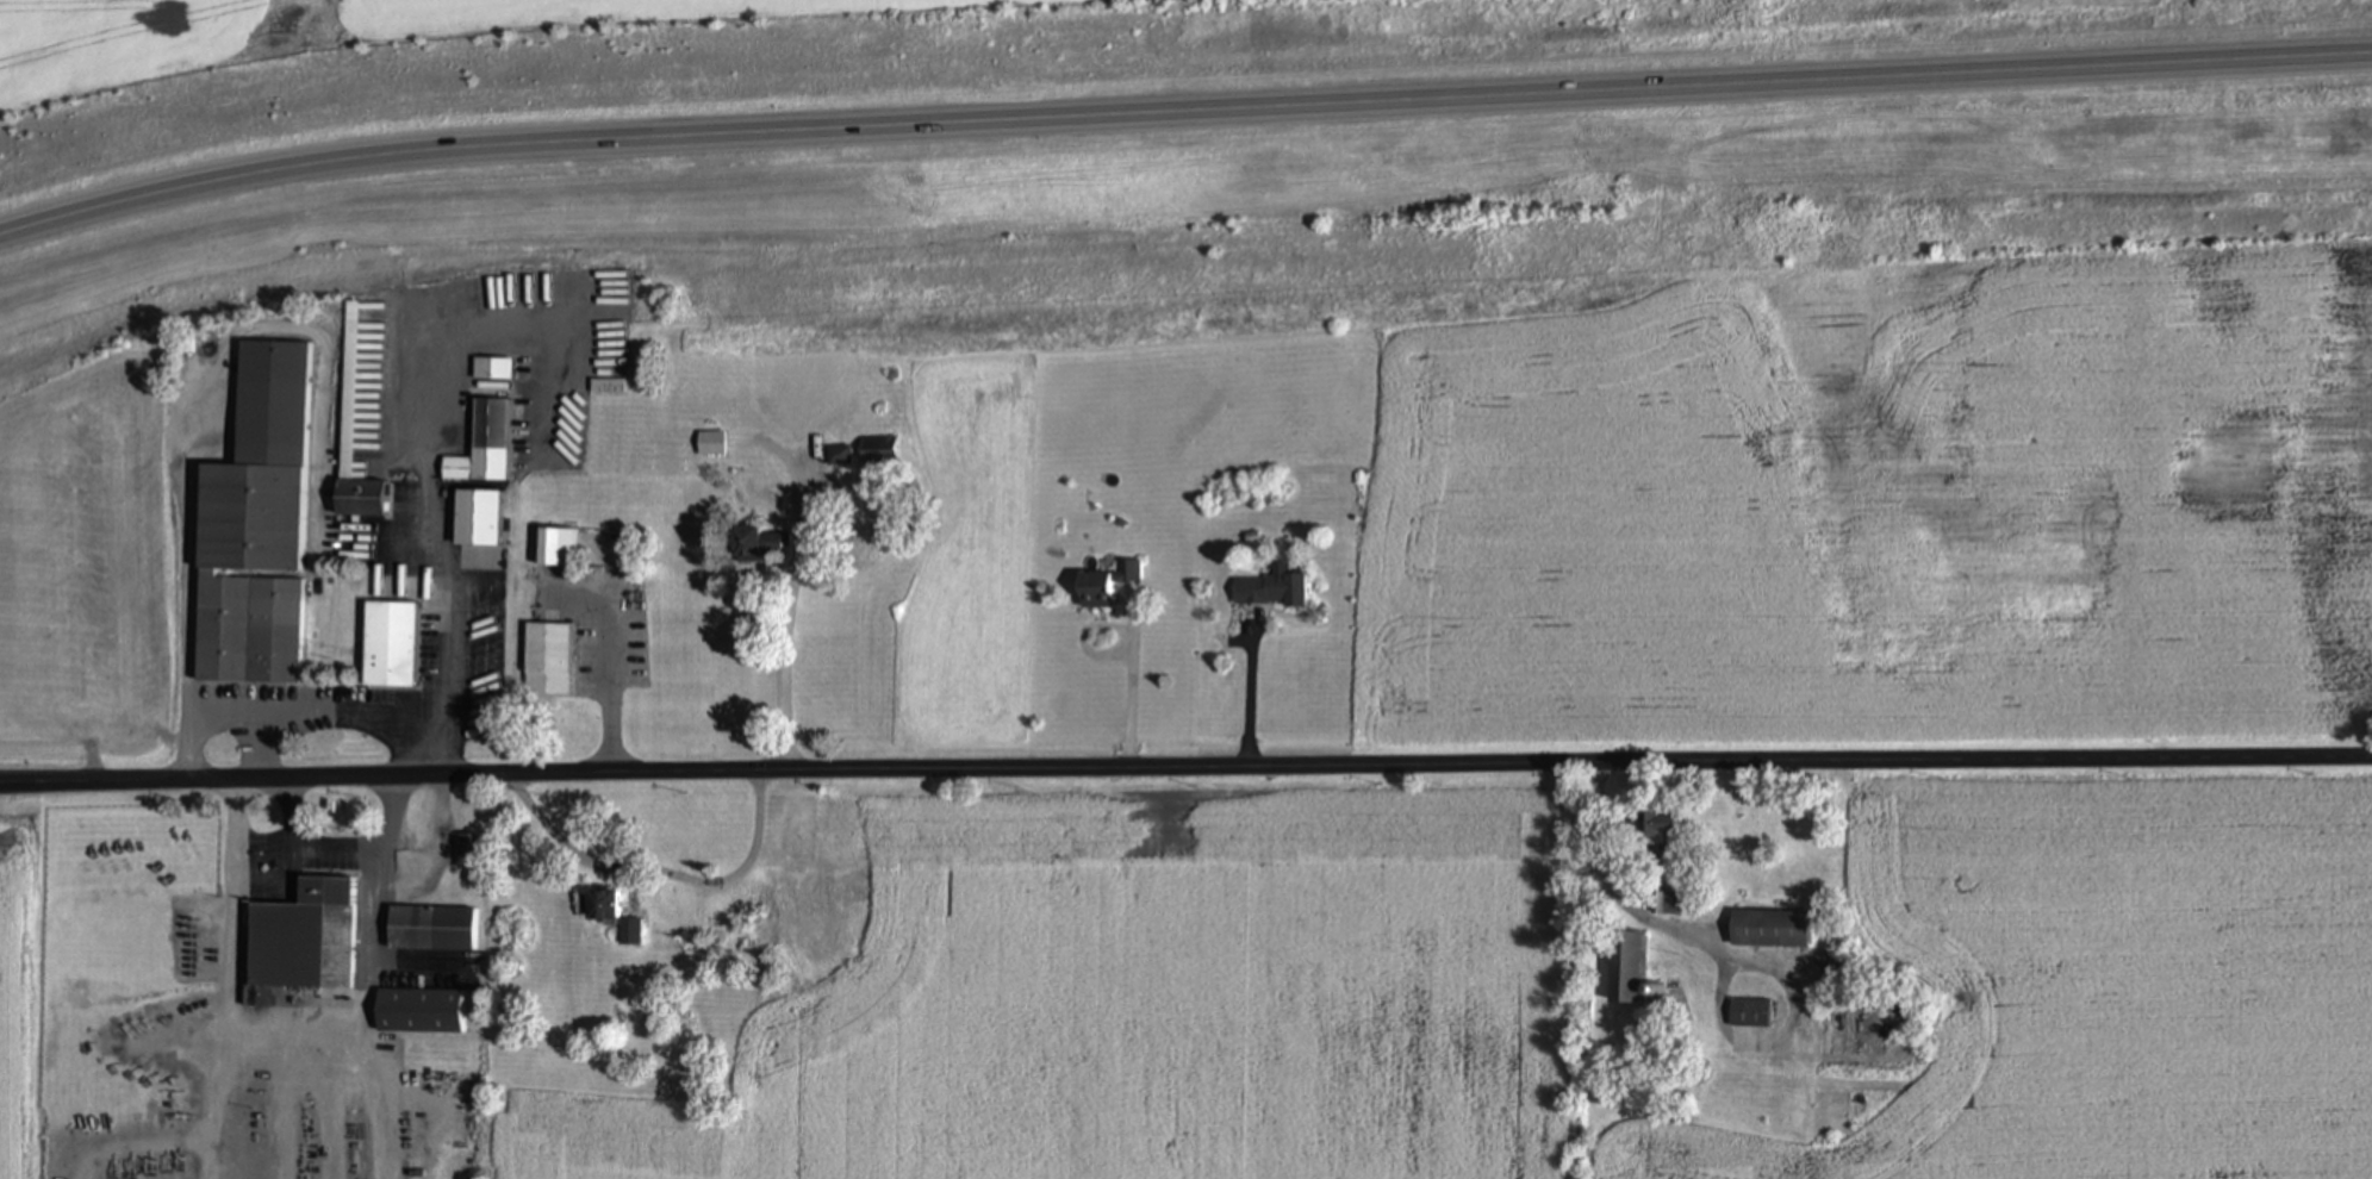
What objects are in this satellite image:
crop: (357, 29)
road: (1182, 119)
building: (492, 370)
building: (353, 431)
building: (711, 444)
building: (483, 447)
building: (838, 456)
building: (475, 519)
building: (254, 530)
building: (757, 545)
building: (860, 547)
building: (555, 549)
building: (1106, 586)
building: (1269, 592)
road: (455, 604)
road: (787, 628)
building: (396, 641)
building: (546, 659)
road: (1132, 686)
road: (608, 691)
road: (1250, 697)
road: (301, 715)
road: (1185, 765)
building: (1657, 824)
road: (307, 846)
building: (473, 851)
road: (652, 866)
building: (1667, 903)
building: (611, 915)
building: (784, 917)
building: (432, 929)
building: (304, 937)
building: (1625, 966)
building: (419, 1011)
building: (1750, 1013)
road: (292, 1044)

